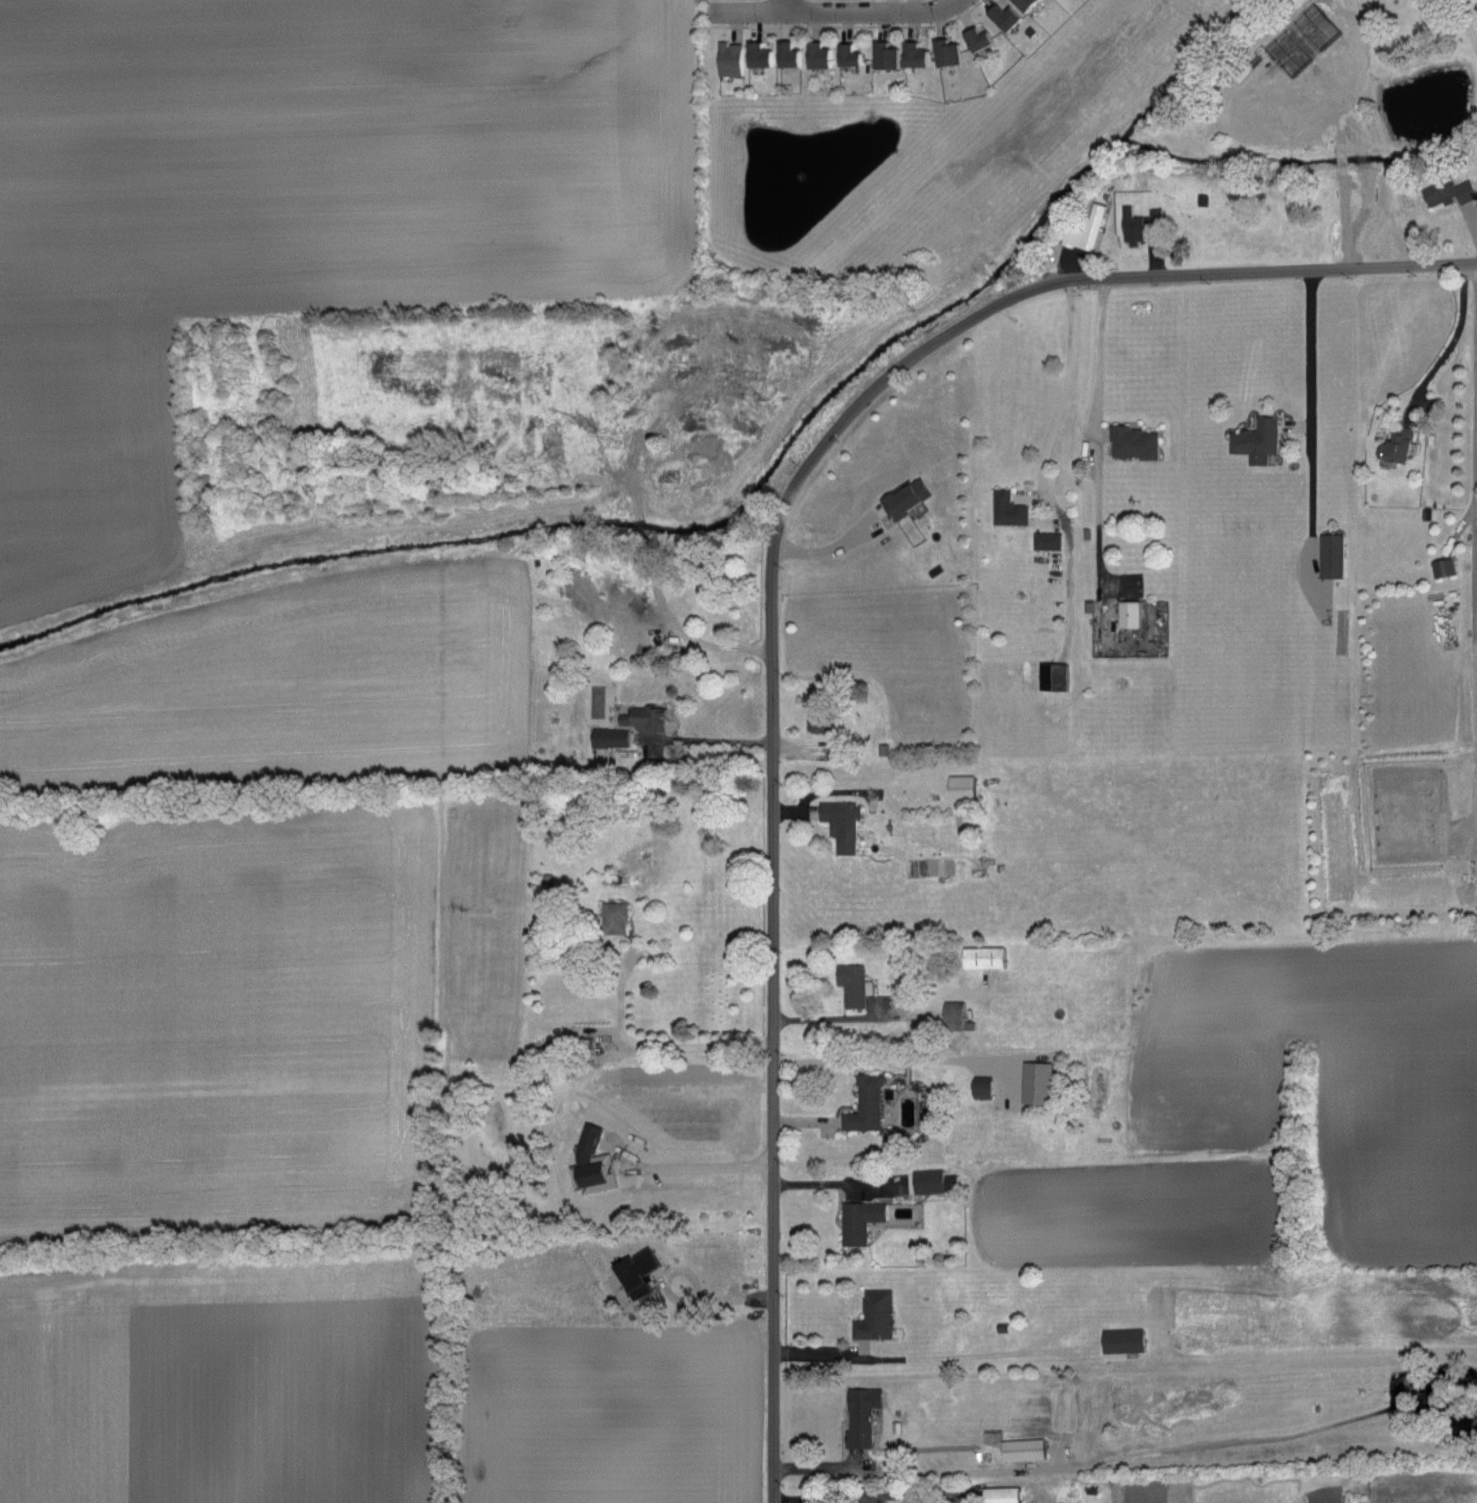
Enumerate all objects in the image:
building: (1020, 3)
building: (1029, 4)
road: (952, 5)
road: (784, 6)
road: (825, 11)
building: (1008, 16)
road: (1464, 23)
road: (846, 25)
building: (981, 39)
building: (950, 52)
building: (791, 54)
building: (762, 55)
building: (852, 55)
building: (890, 55)
building: (822, 56)
building: (918, 56)
building: (733, 59)
road: (1363, 109)
road: (1376, 160)
building: (1446, 191)
building: (1154, 215)
road: (1389, 220)
road: (1471, 224)
building: (1129, 225)
building: (1084, 229)
road: (1135, 278)
road: (1447, 347)
road: (1054, 426)
road: (1301, 427)
road: (1098, 431)
road: (1313, 433)
building: (1253, 440)
building: (1131, 442)
building: (1394, 444)
building: (904, 497)
building: (1006, 508)
building: (1045, 540)
road: (823, 548)
building: (1329, 556)
building: (1441, 567)
building: (1126, 612)
road: (692, 637)
building: (640, 716)
building: (813, 720)
building: (608, 736)
road: (703, 739)
crop: (291, 776)
building: (958, 786)
building: (839, 822)
building: (612, 916)
road: (770, 953)
building: (982, 956)
building: (849, 983)
building: (951, 1014)
road: (852, 1017)
road: (662, 1048)
road: (893, 1059)
building: (1034, 1081)
building: (979, 1085)
building: (863, 1103)
road: (691, 1167)
building: (925, 1180)
road: (824, 1183)
building: (857, 1219)
building: (633, 1271)
road: (691, 1281)
building: (873, 1314)
building: (1120, 1339)
road: (838, 1356)
building: (859, 1414)
building: (1019, 1448)
road: (913, 1474)
building: (998, 1494)

